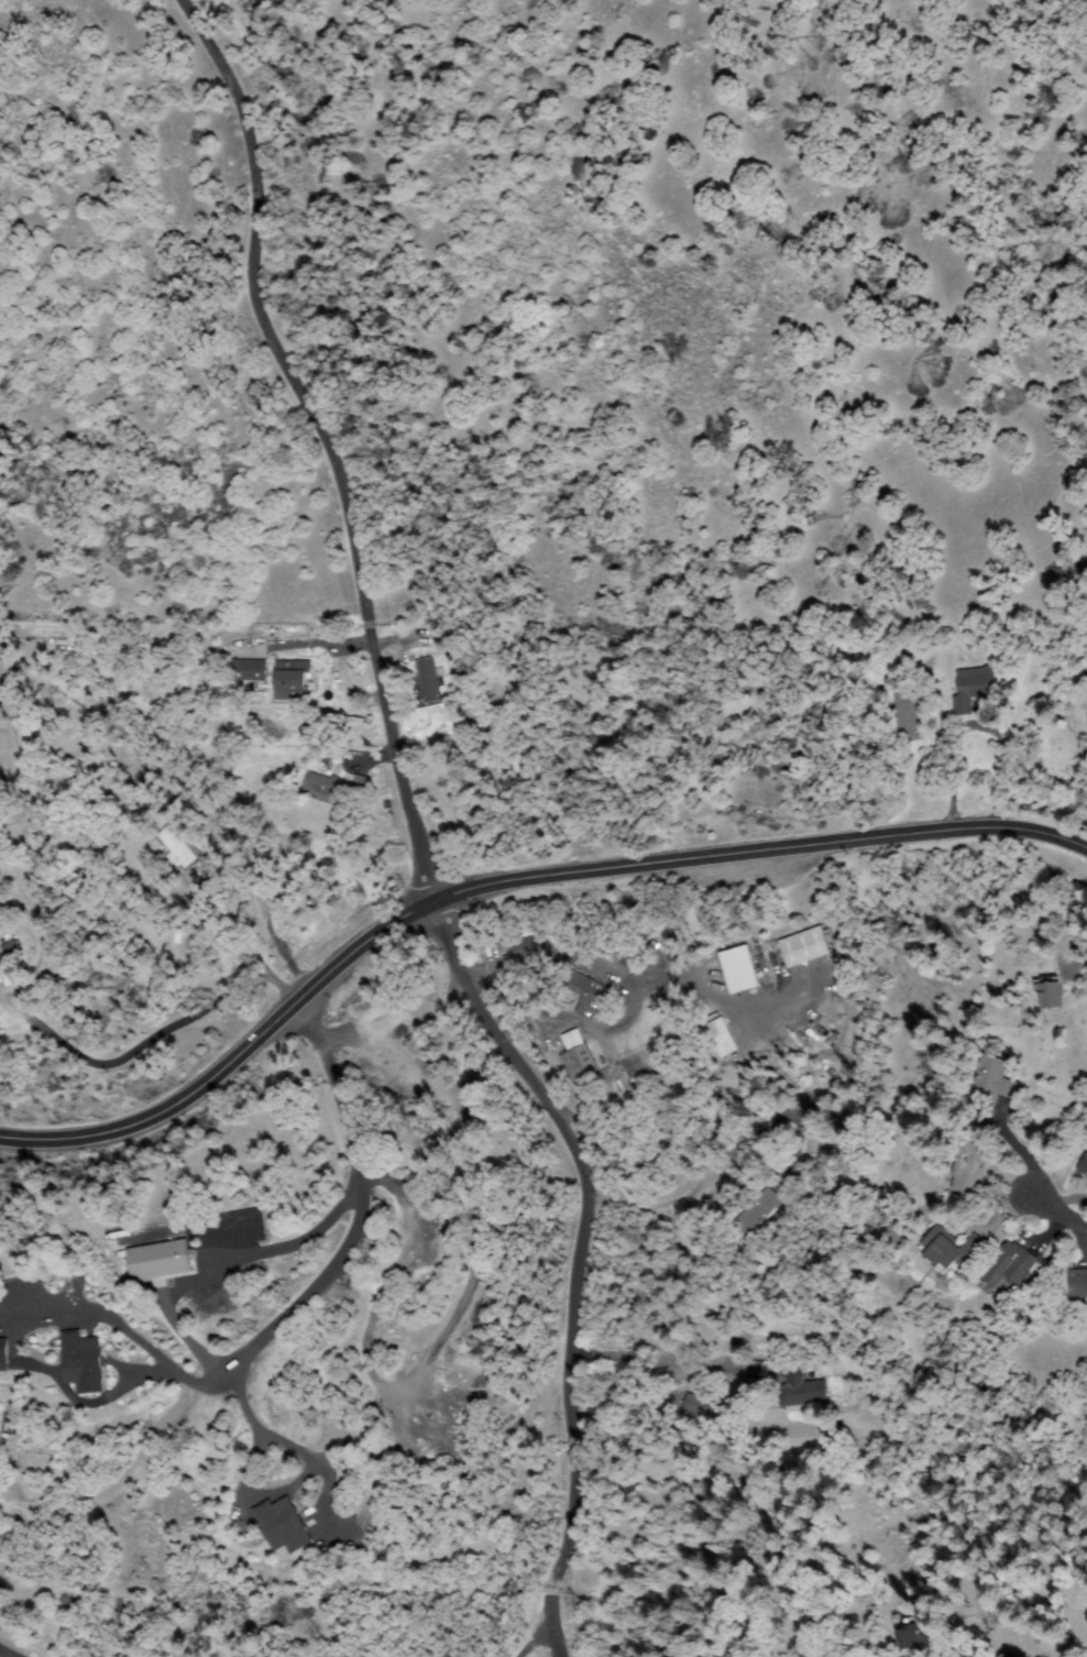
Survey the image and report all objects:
building: (229, 648)
building: (251, 670)
building: (293, 680)
building: (419, 680)
building: (430, 680)
building: (226, 684)
building: (975, 685)
building: (907, 711)
road: (402, 768)
building: (205, 769)
building: (363, 786)
building: (327, 789)
building: (177, 844)
building: (246, 863)
road: (503, 879)
building: (197, 940)
building: (804, 946)
building: (14, 953)
building: (7, 958)
building: (740, 968)
road: (219, 980)
building: (1050, 991)
building: (588, 992)
building: (722, 1036)
building: (712, 1038)
building: (575, 1040)
building: (579, 1063)
building: (993, 1079)
road: (417, 1148)
building: (967, 1165)
building: (1085, 1168)
building: (779, 1179)
building: (944, 1181)
building: (757, 1209)
building: (736, 1211)
road: (1059, 1214)
building: (890, 1237)
building: (949, 1250)
building: (163, 1259)
building: (1010, 1265)
building: (1080, 1283)
building: (4, 1354)
building: (85, 1361)
building: (798, 1391)
building: (695, 1404)
building: (11, 1422)
building: (285, 1524)
road: (548, 1593)
road: (536, 1625)
building: (914, 1636)
building: (896, 1637)
building: (1002, 1656)

